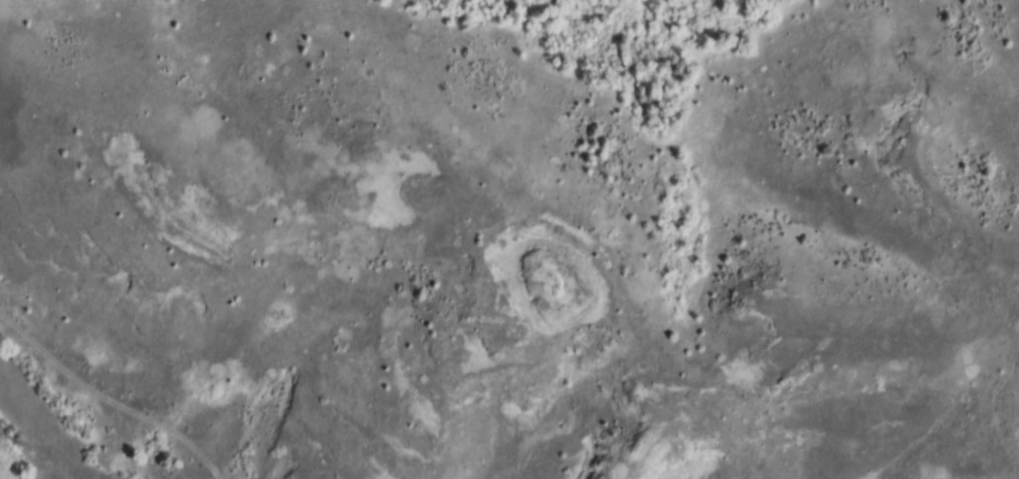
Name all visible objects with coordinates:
road: (994, 42)
road: (107, 400)
road: (975, 412)

